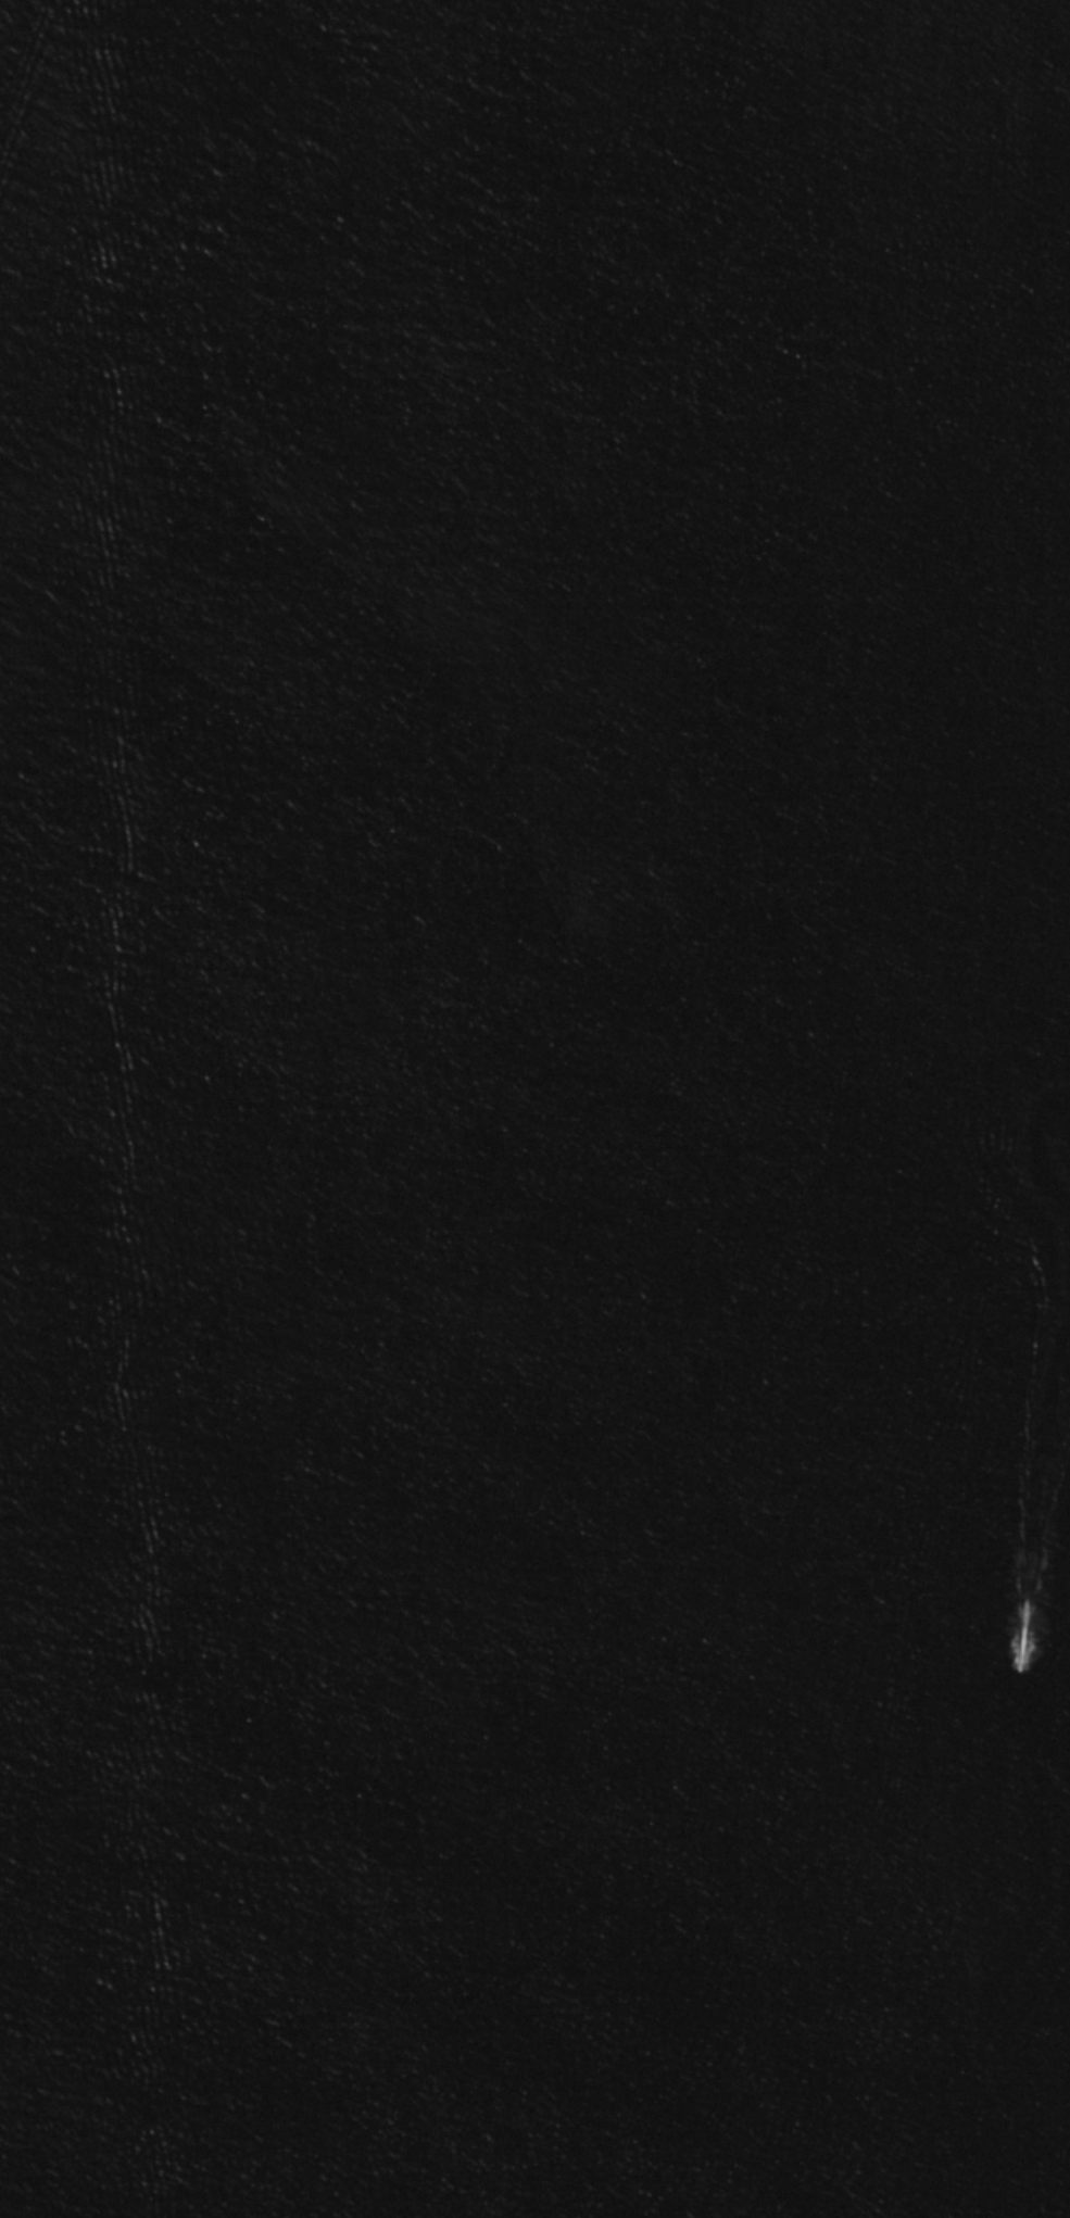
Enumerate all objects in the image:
river: (395, 1102)

